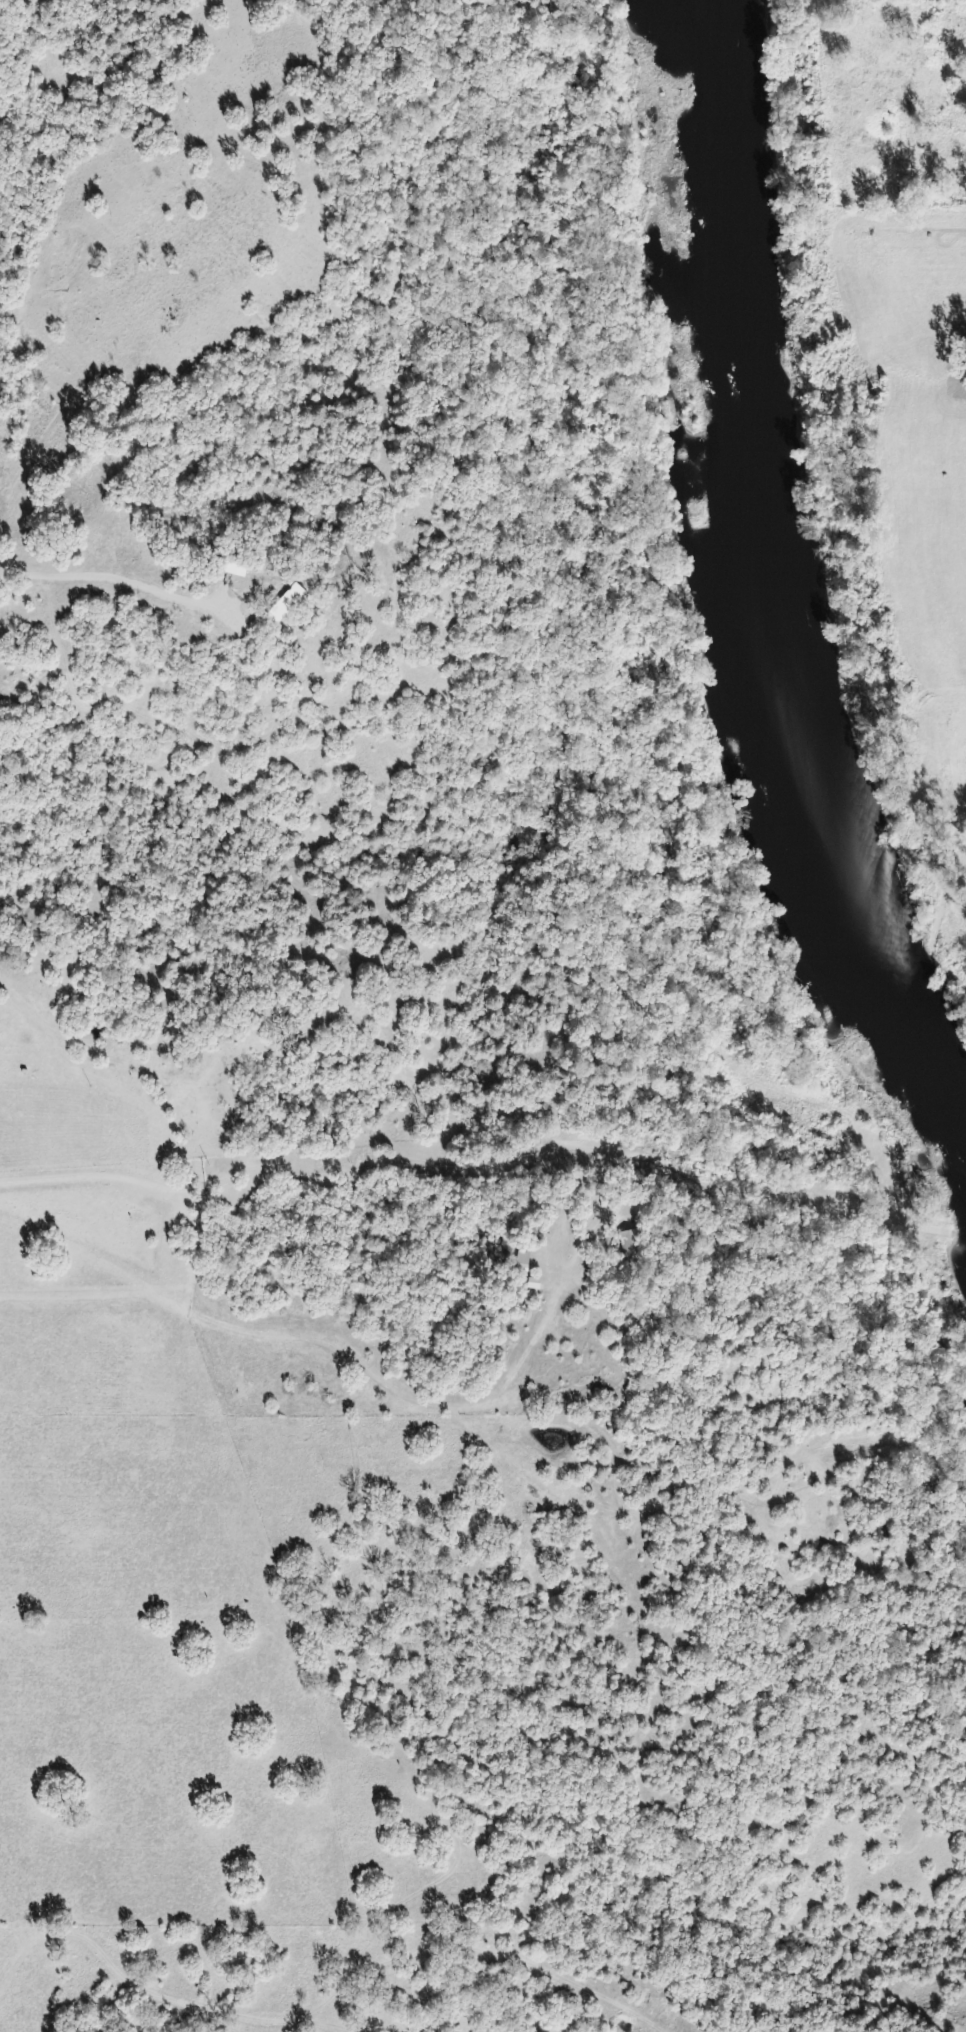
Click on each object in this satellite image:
river: (767, 587)
road: (135, 589)
building: (281, 596)
building: (621, 1243)
road: (347, 2024)

